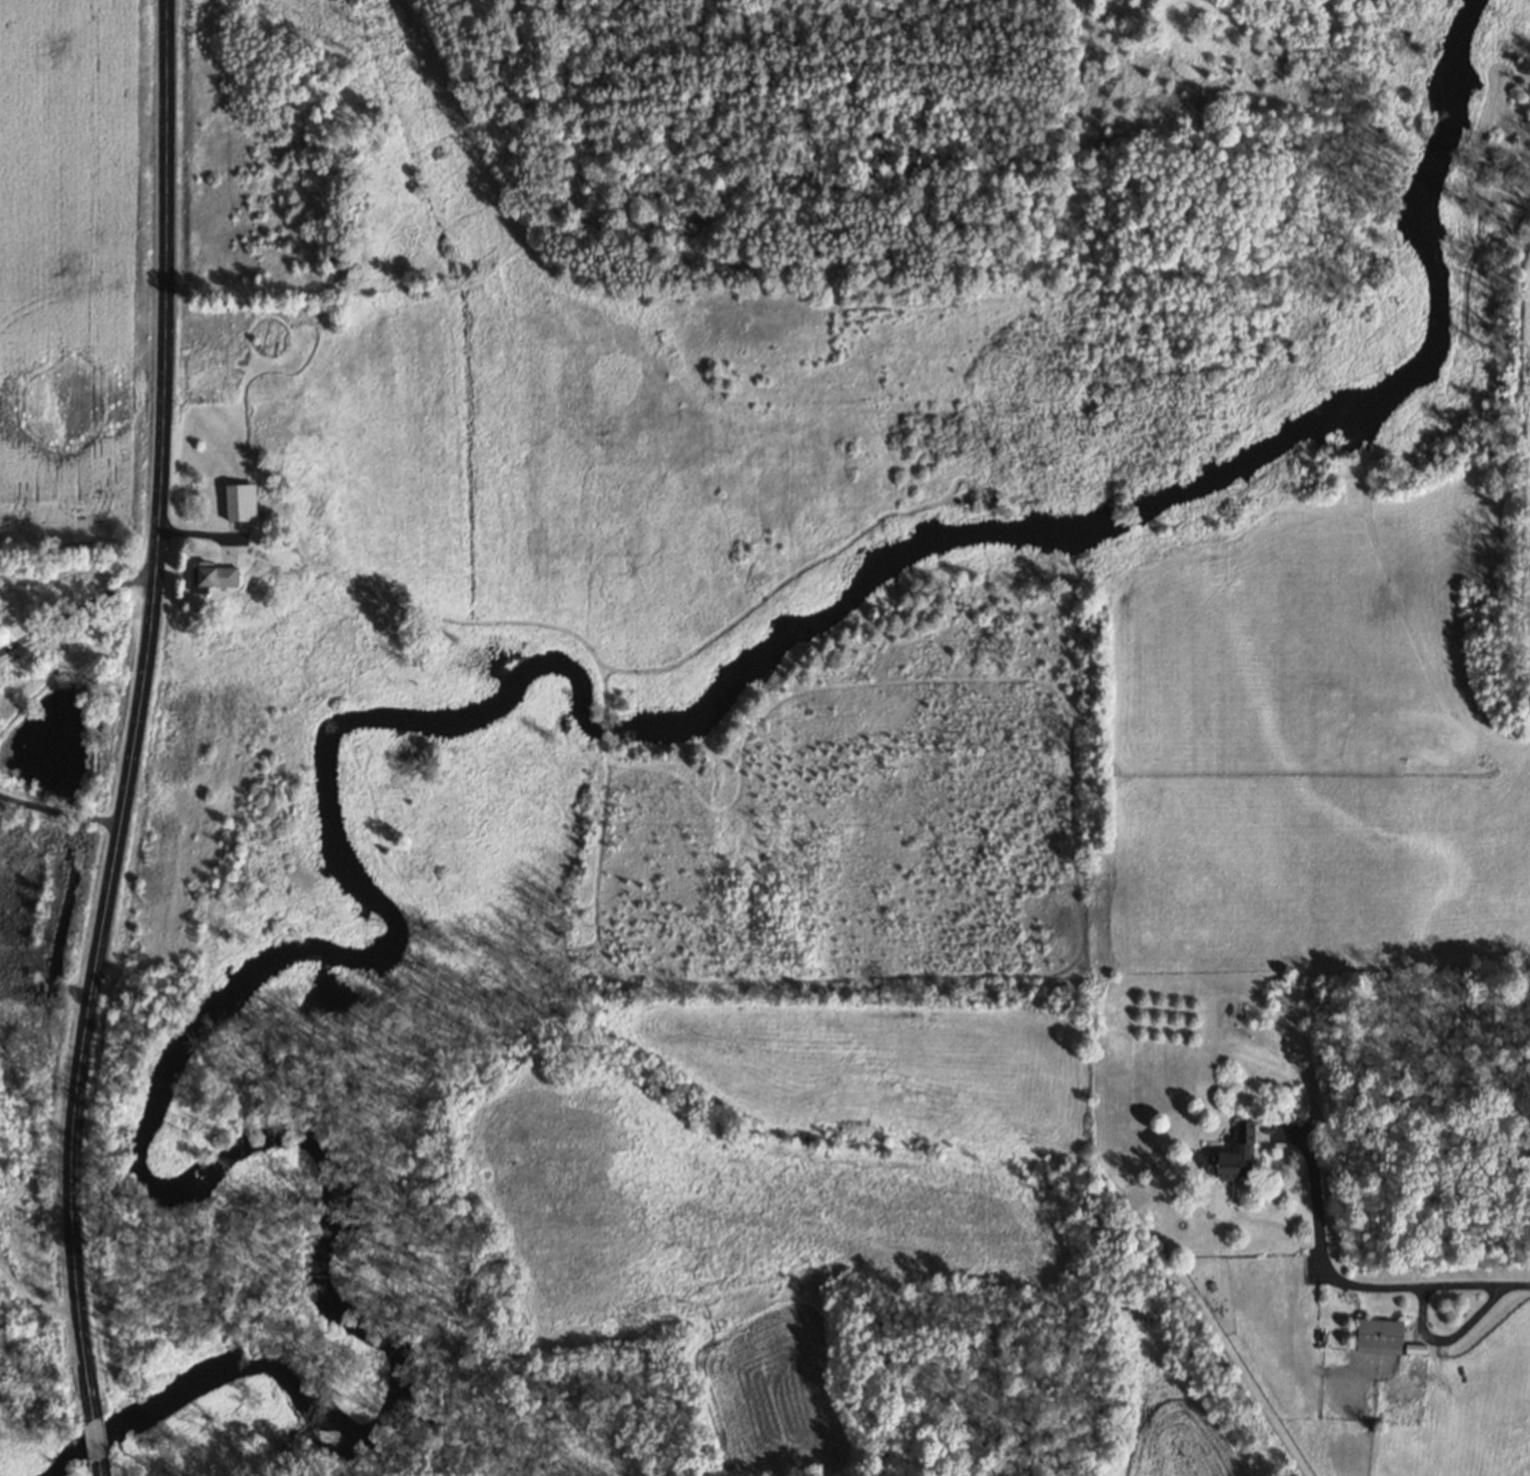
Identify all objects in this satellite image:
building: (236, 501)
building: (209, 577)
road: (78, 607)
river: (463, 723)
road: (135, 740)
road: (60, 812)
road: (1356, 1282)
building: (1377, 1336)
river: (17, 1465)

